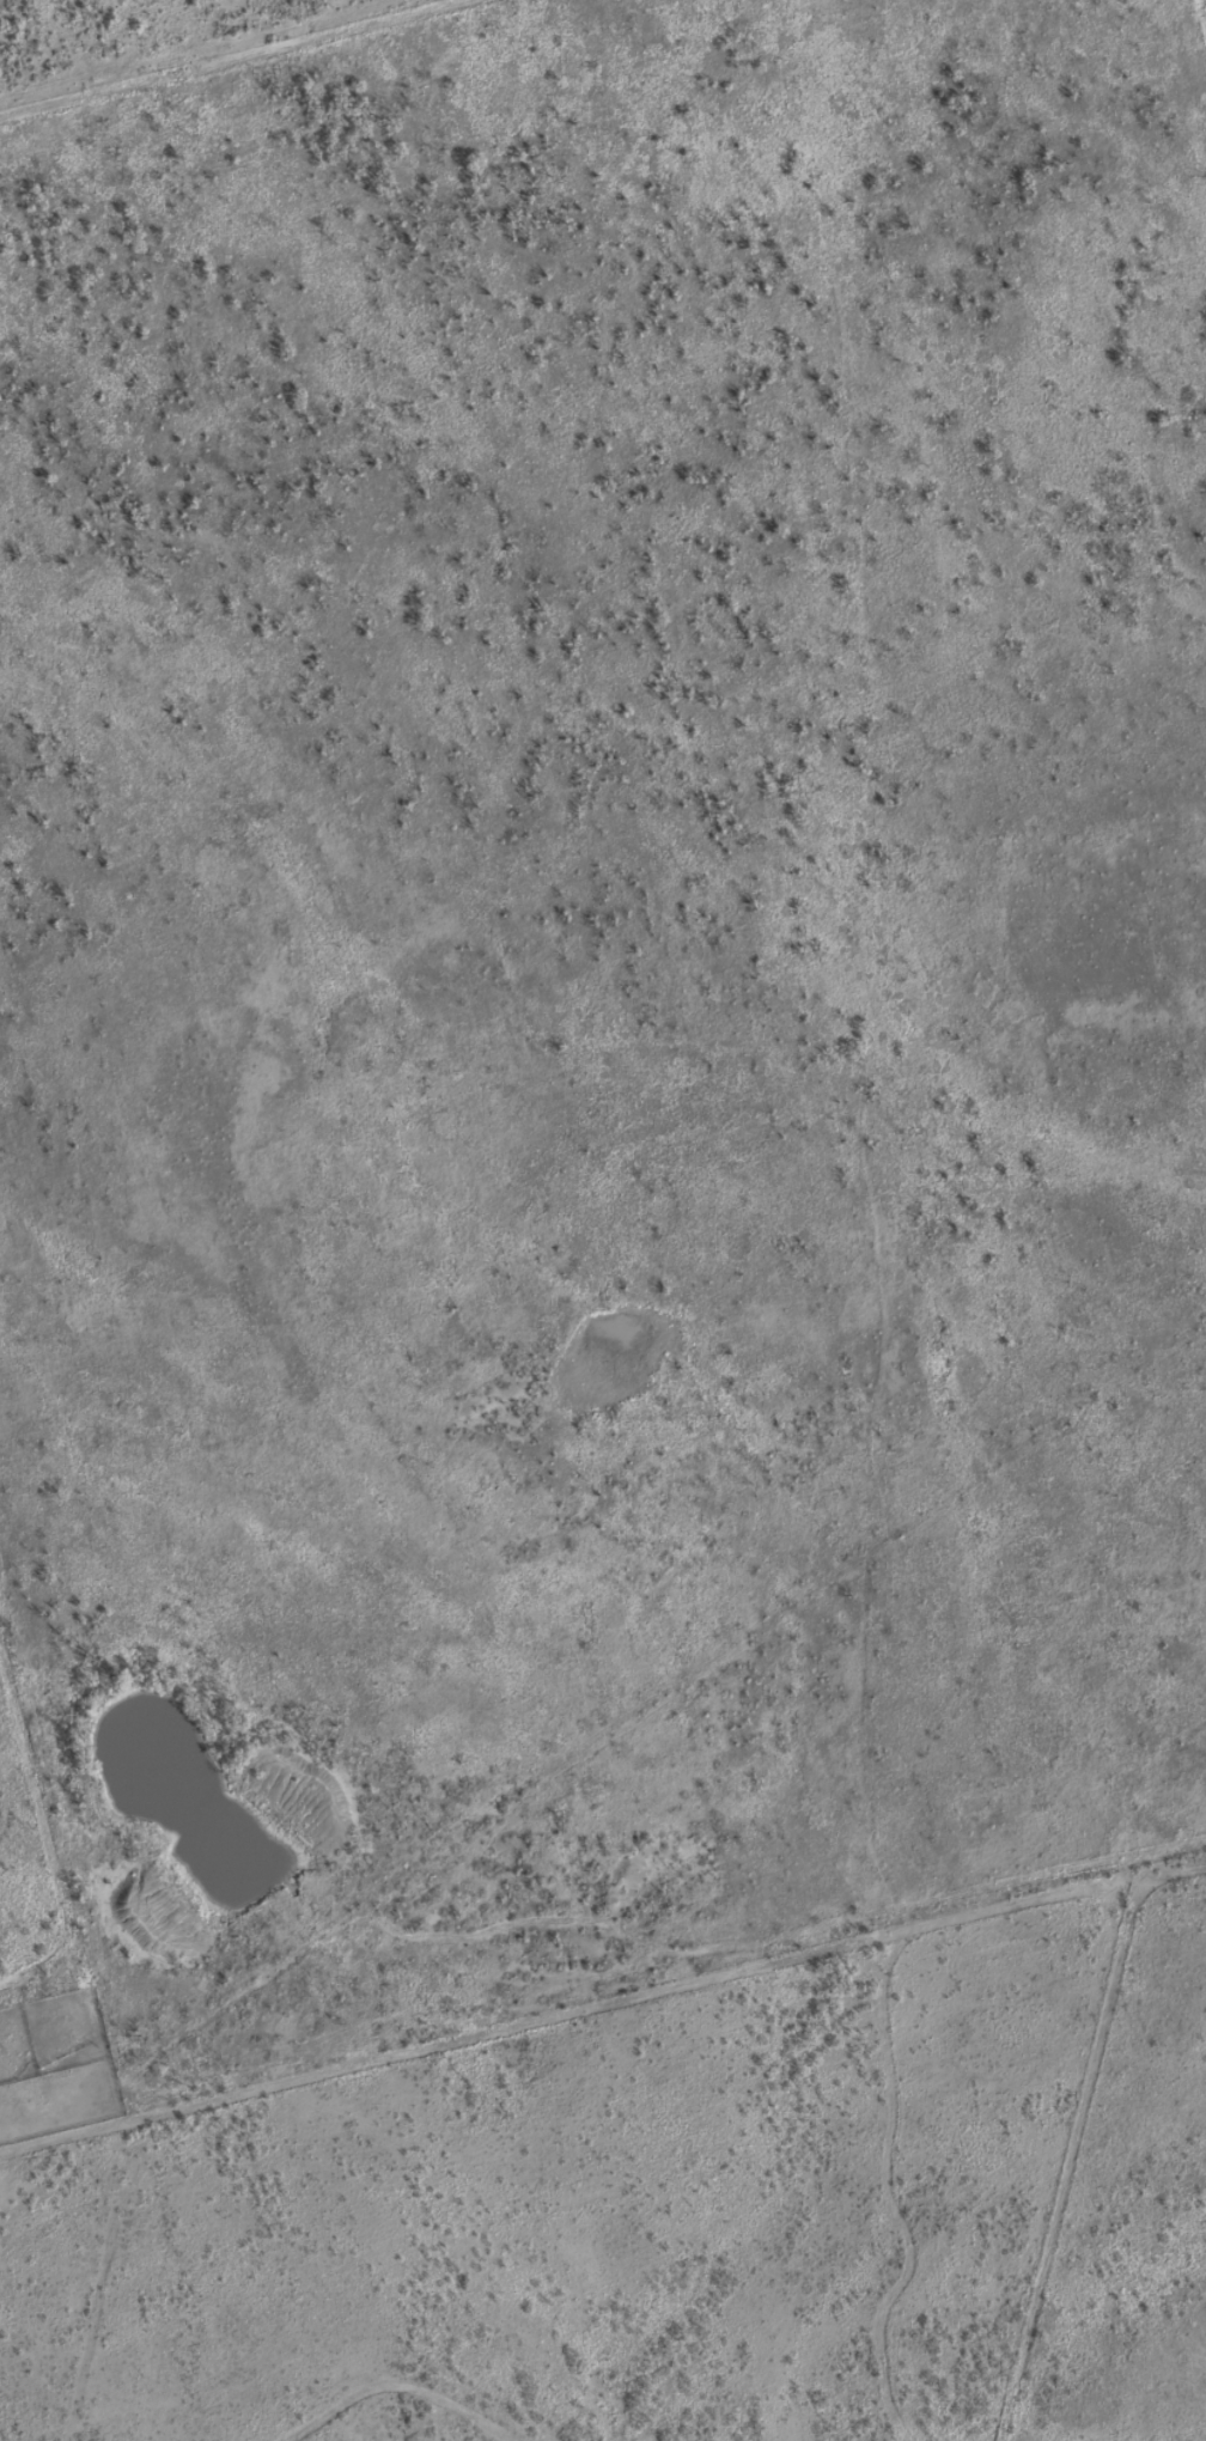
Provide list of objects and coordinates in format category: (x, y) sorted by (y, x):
road: (413, 2430)

